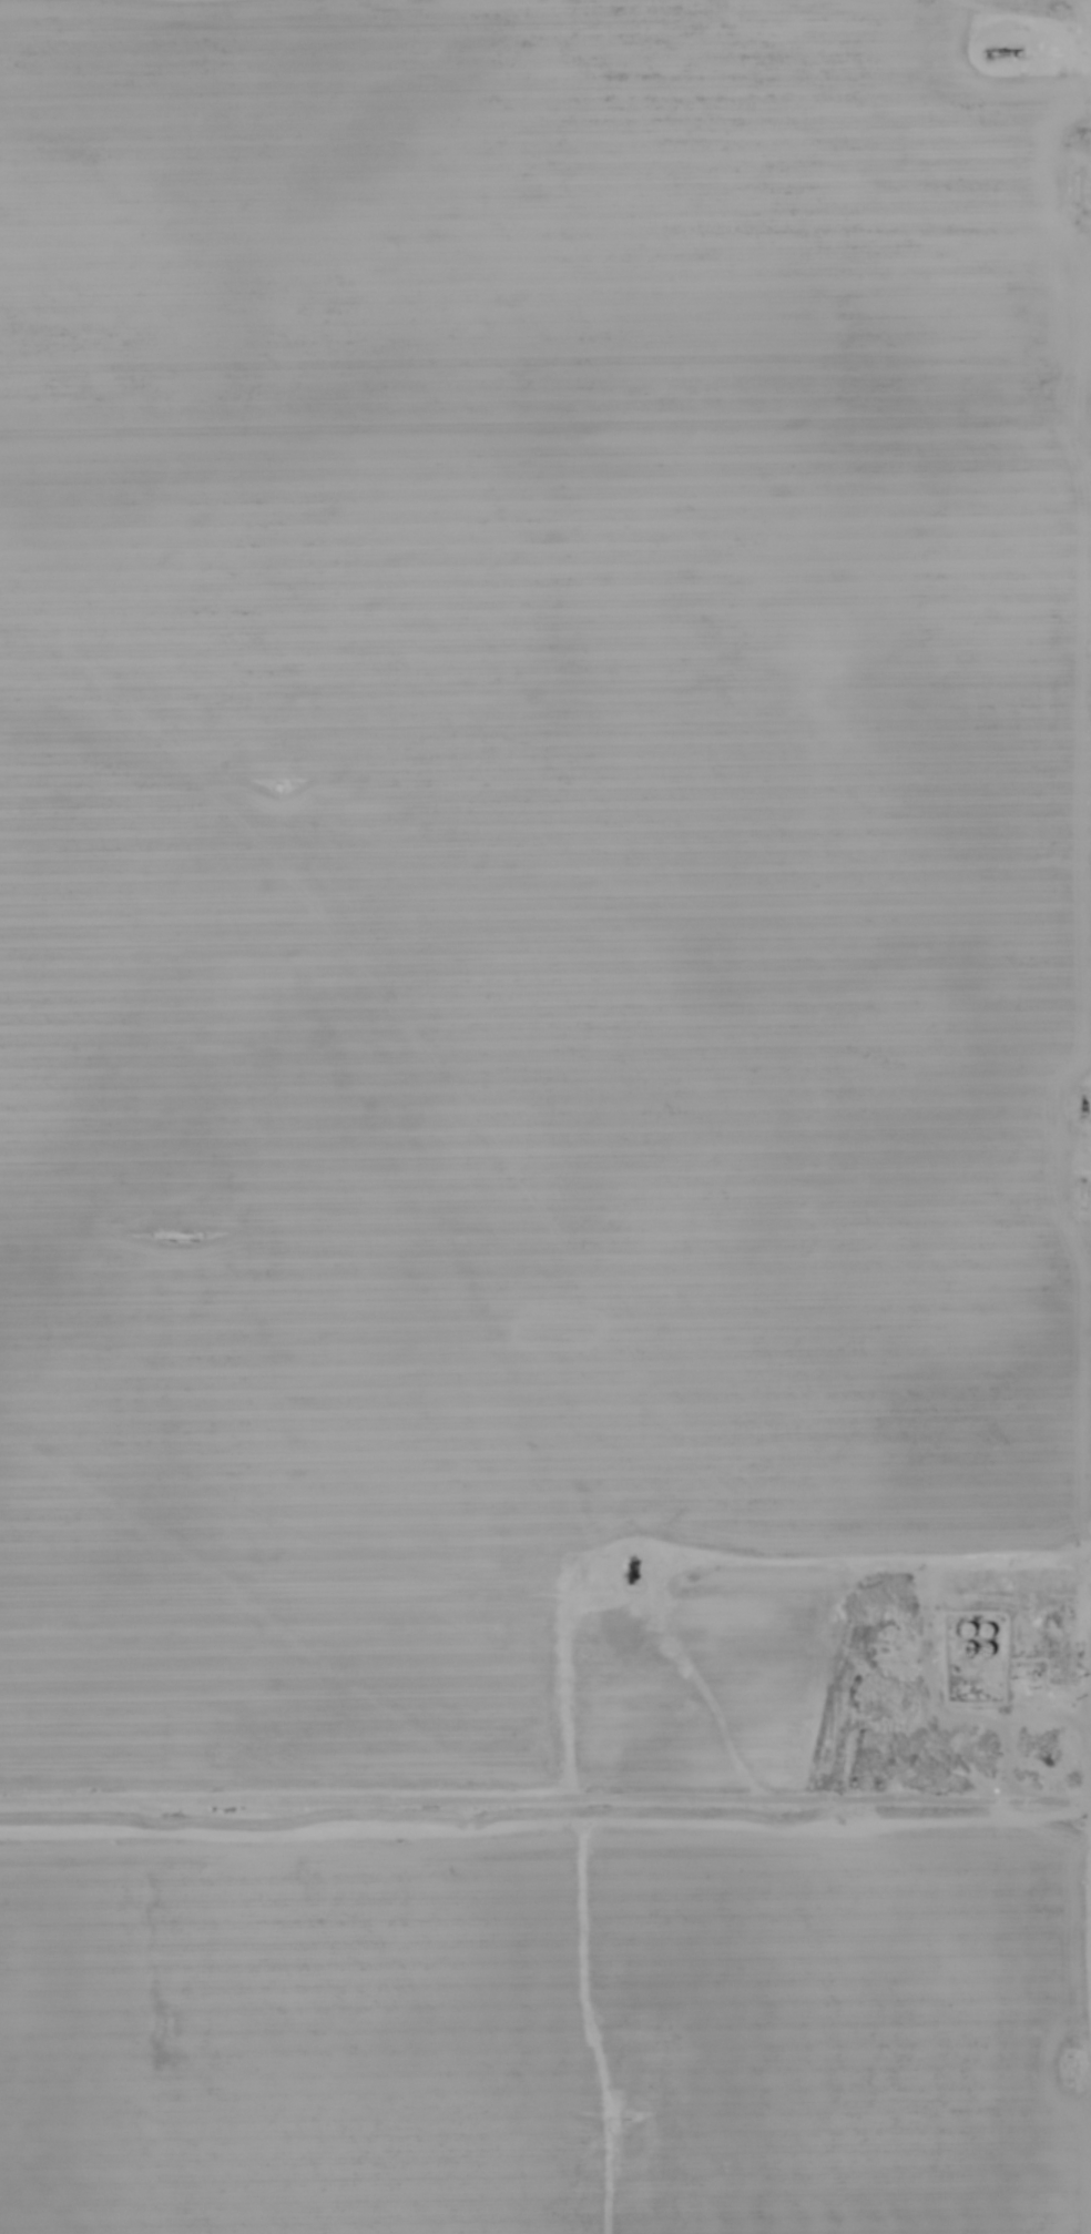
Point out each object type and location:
wastewater plant: (1042, 181)

